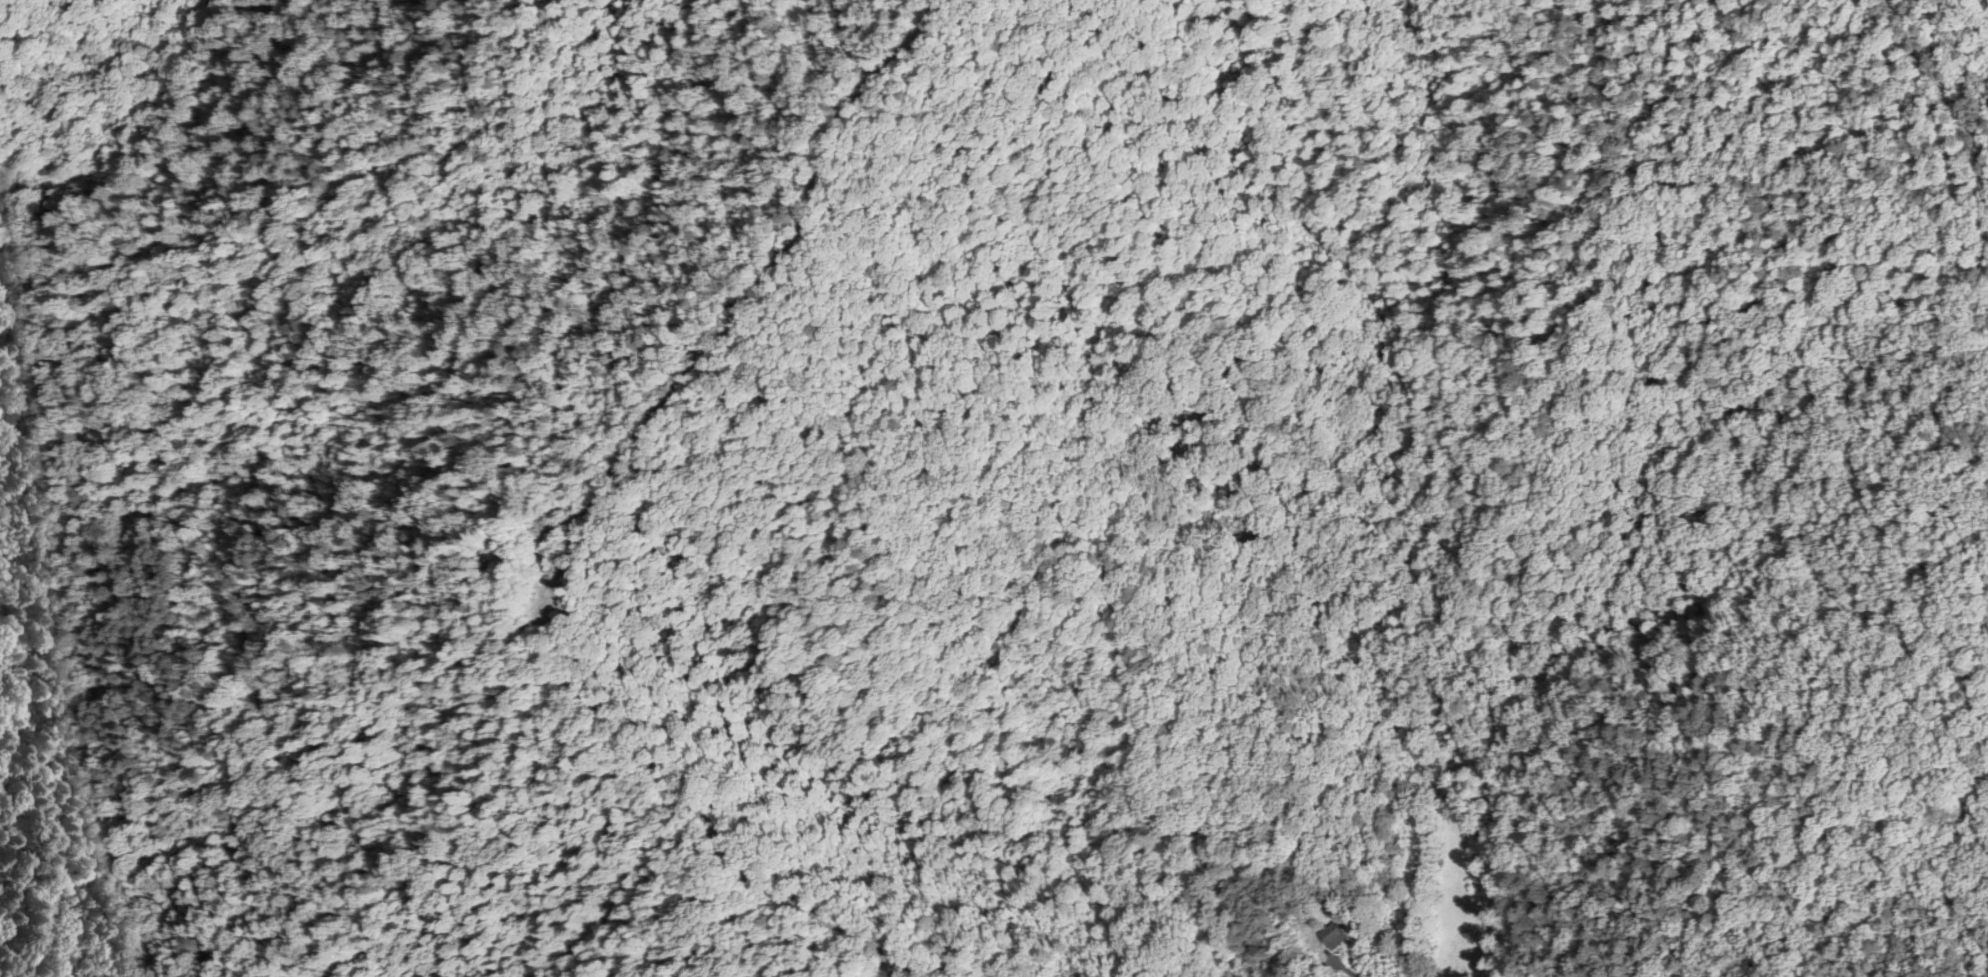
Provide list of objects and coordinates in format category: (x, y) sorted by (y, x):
building: (1337, 935)

